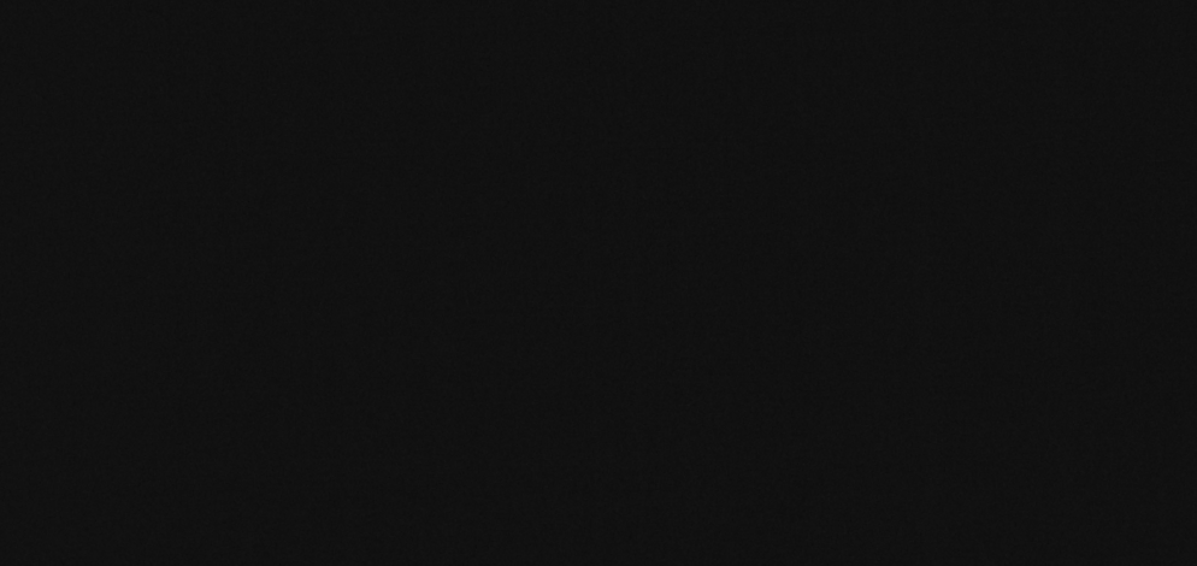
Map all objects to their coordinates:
park: (598, 283)

